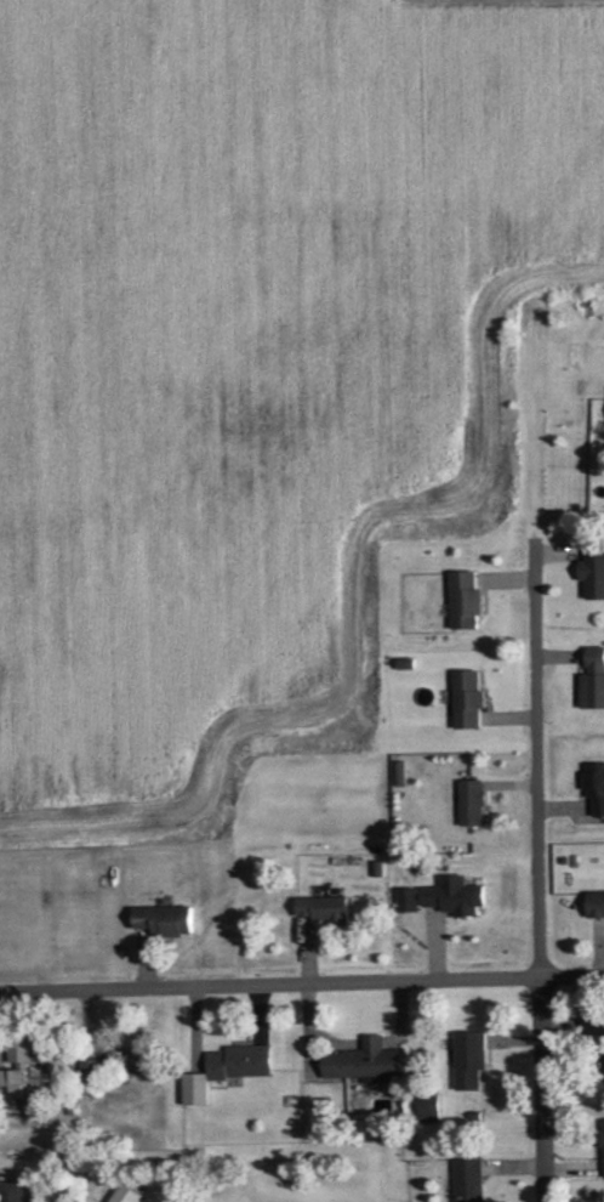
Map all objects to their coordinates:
building: (592, 572)
building: (465, 601)
building: (592, 681)
building: (467, 702)
building: (401, 775)
building: (594, 788)
building: (472, 805)
building: (444, 898)
building: (594, 906)
building: (324, 911)
road: (541, 911)
building: (163, 922)
road: (301, 981)
building: (594, 1025)
building: (469, 1061)
building: (240, 1064)
building: (363, 1065)
building: (33, 1070)
building: (602, 1070)
building: (90, 1075)
building: (194, 1092)
building: (428, 1109)
building: (603, 1147)
building: (469, 1179)
building: (18, 1191)
building: (133, 1195)

